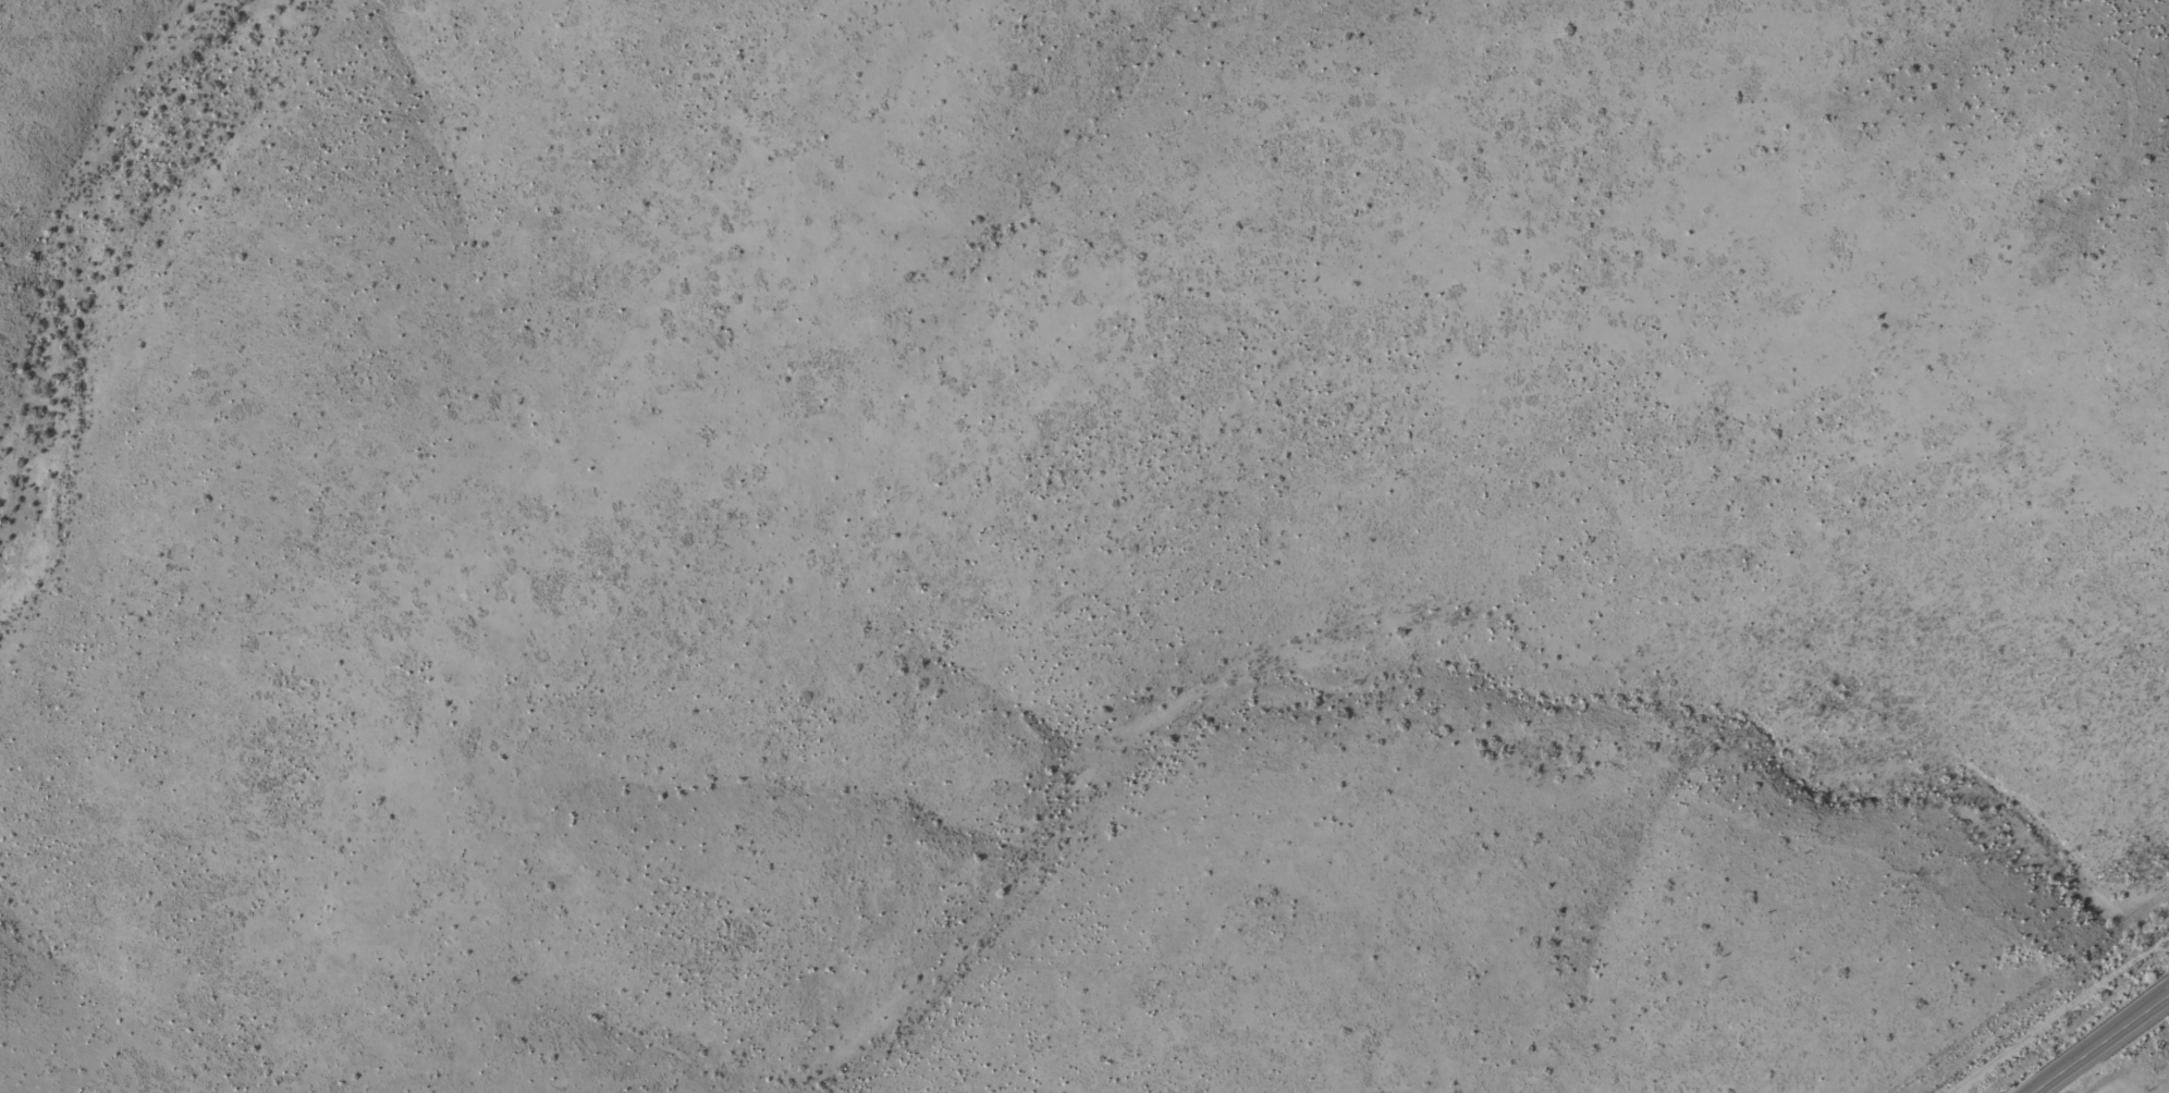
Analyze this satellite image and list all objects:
road: (2164, 993)
road: (2093, 1045)

